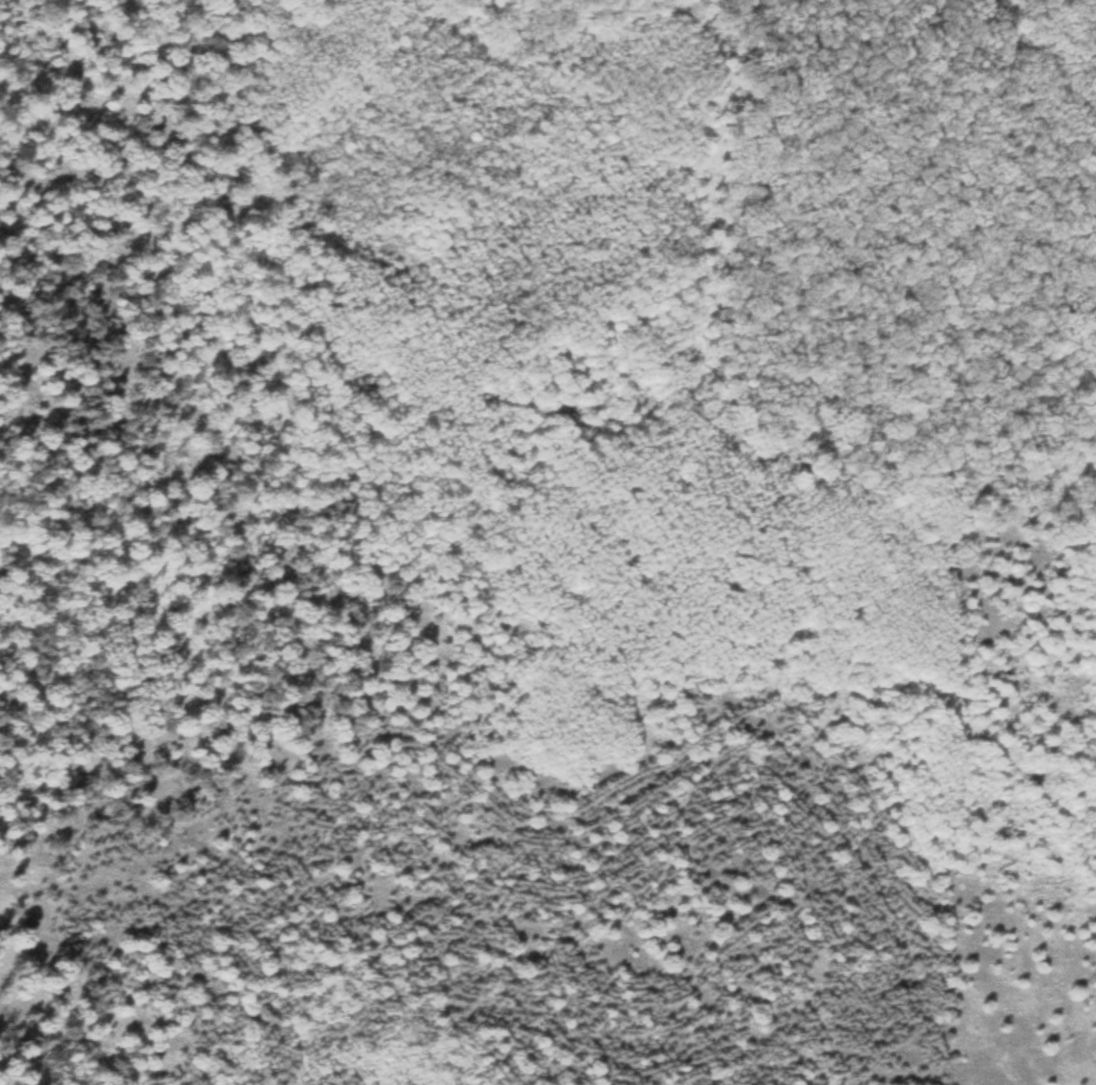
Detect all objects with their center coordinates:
road: (1047, 65)
road: (900, 1081)

